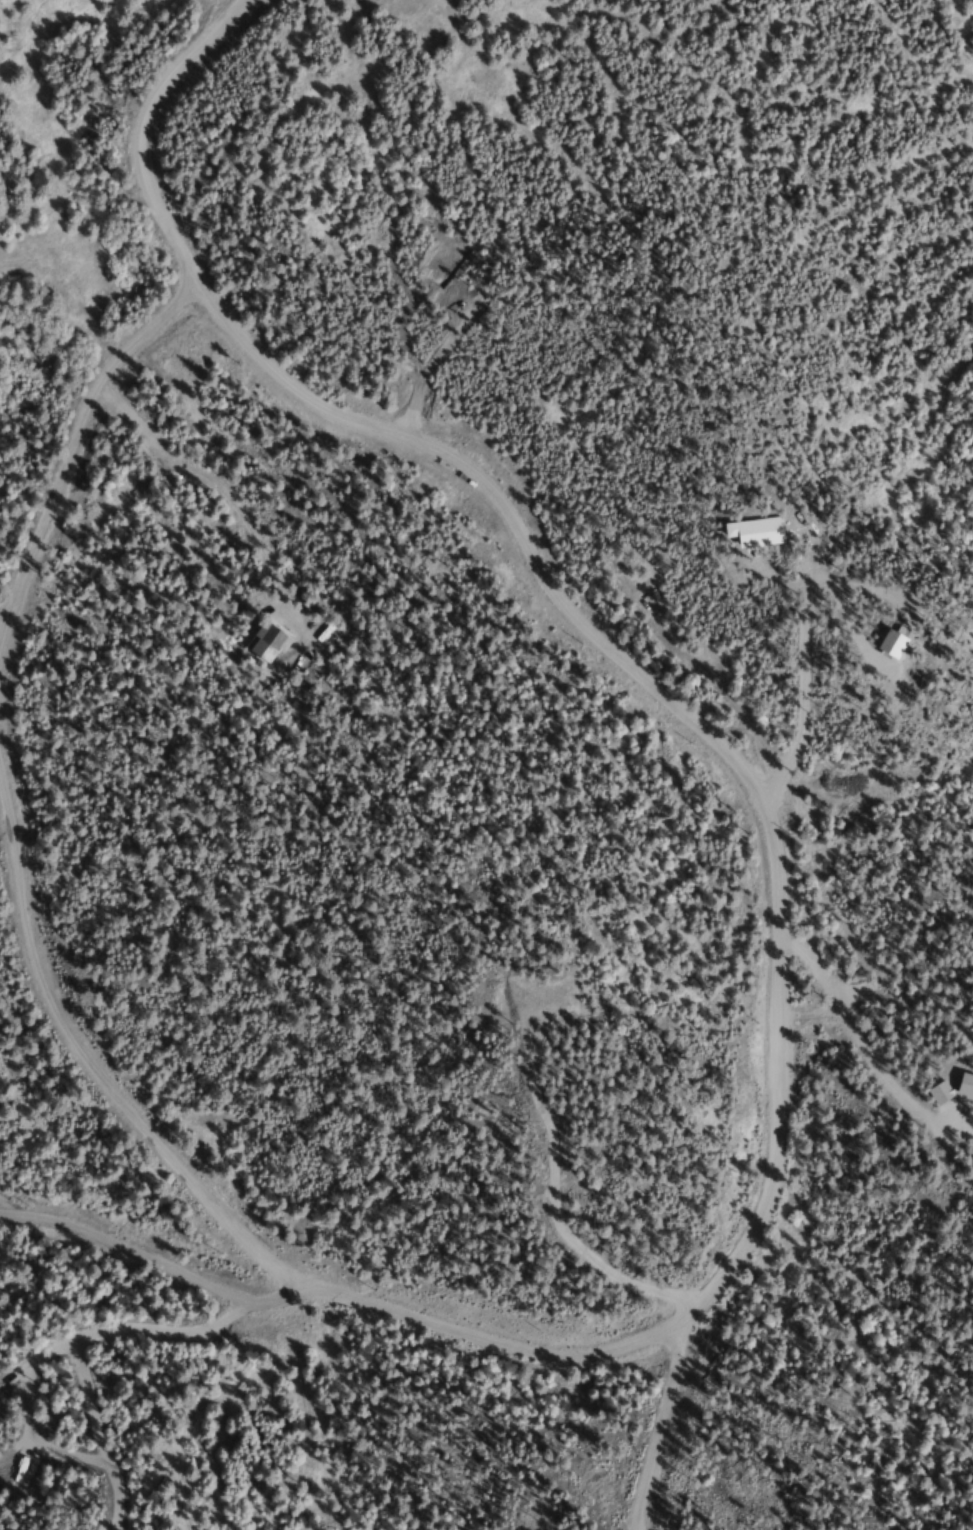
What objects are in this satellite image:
road: (157, 317)
road: (84, 1035)

